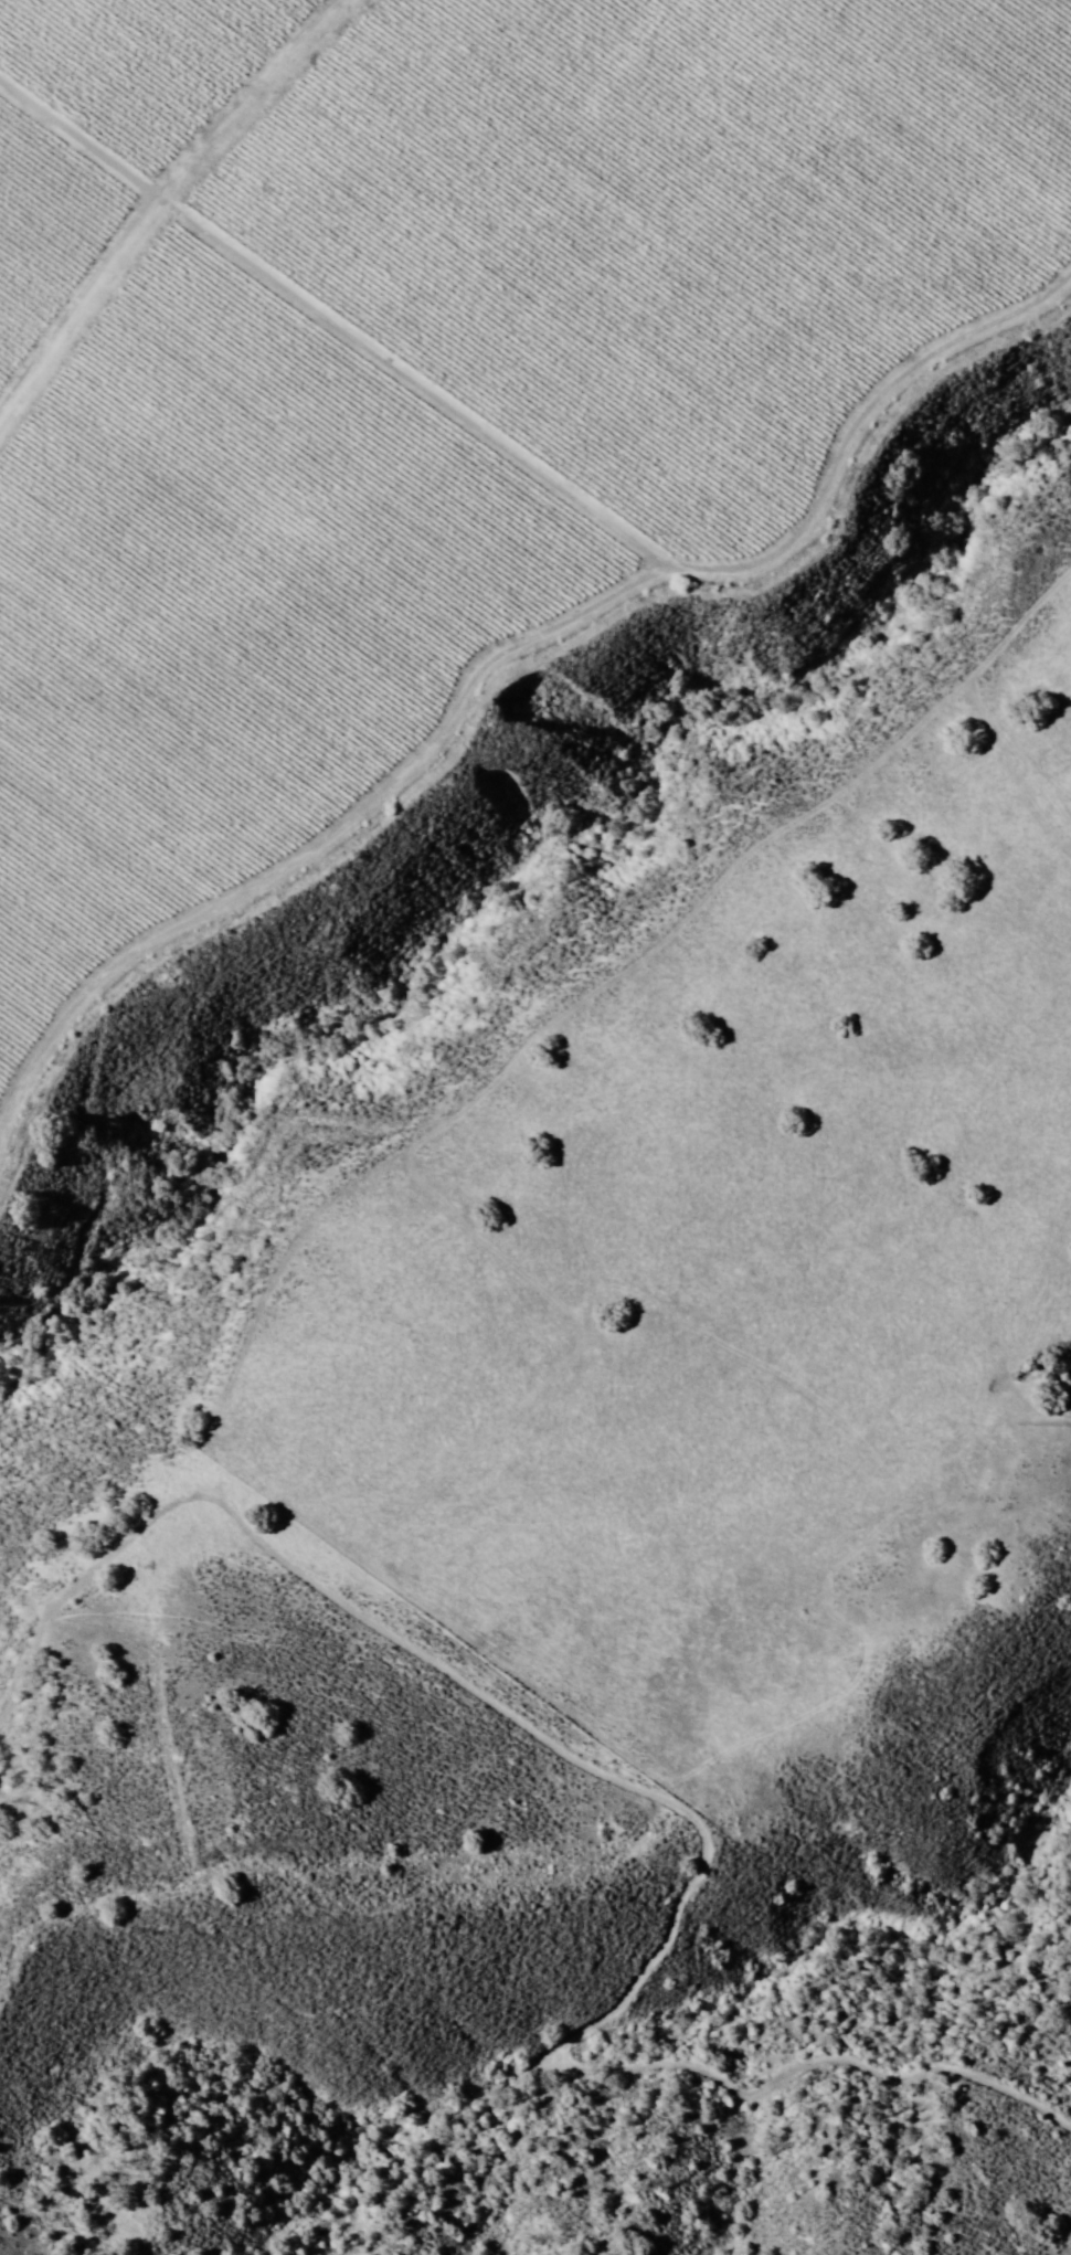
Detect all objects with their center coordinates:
road: (569, 1829)

